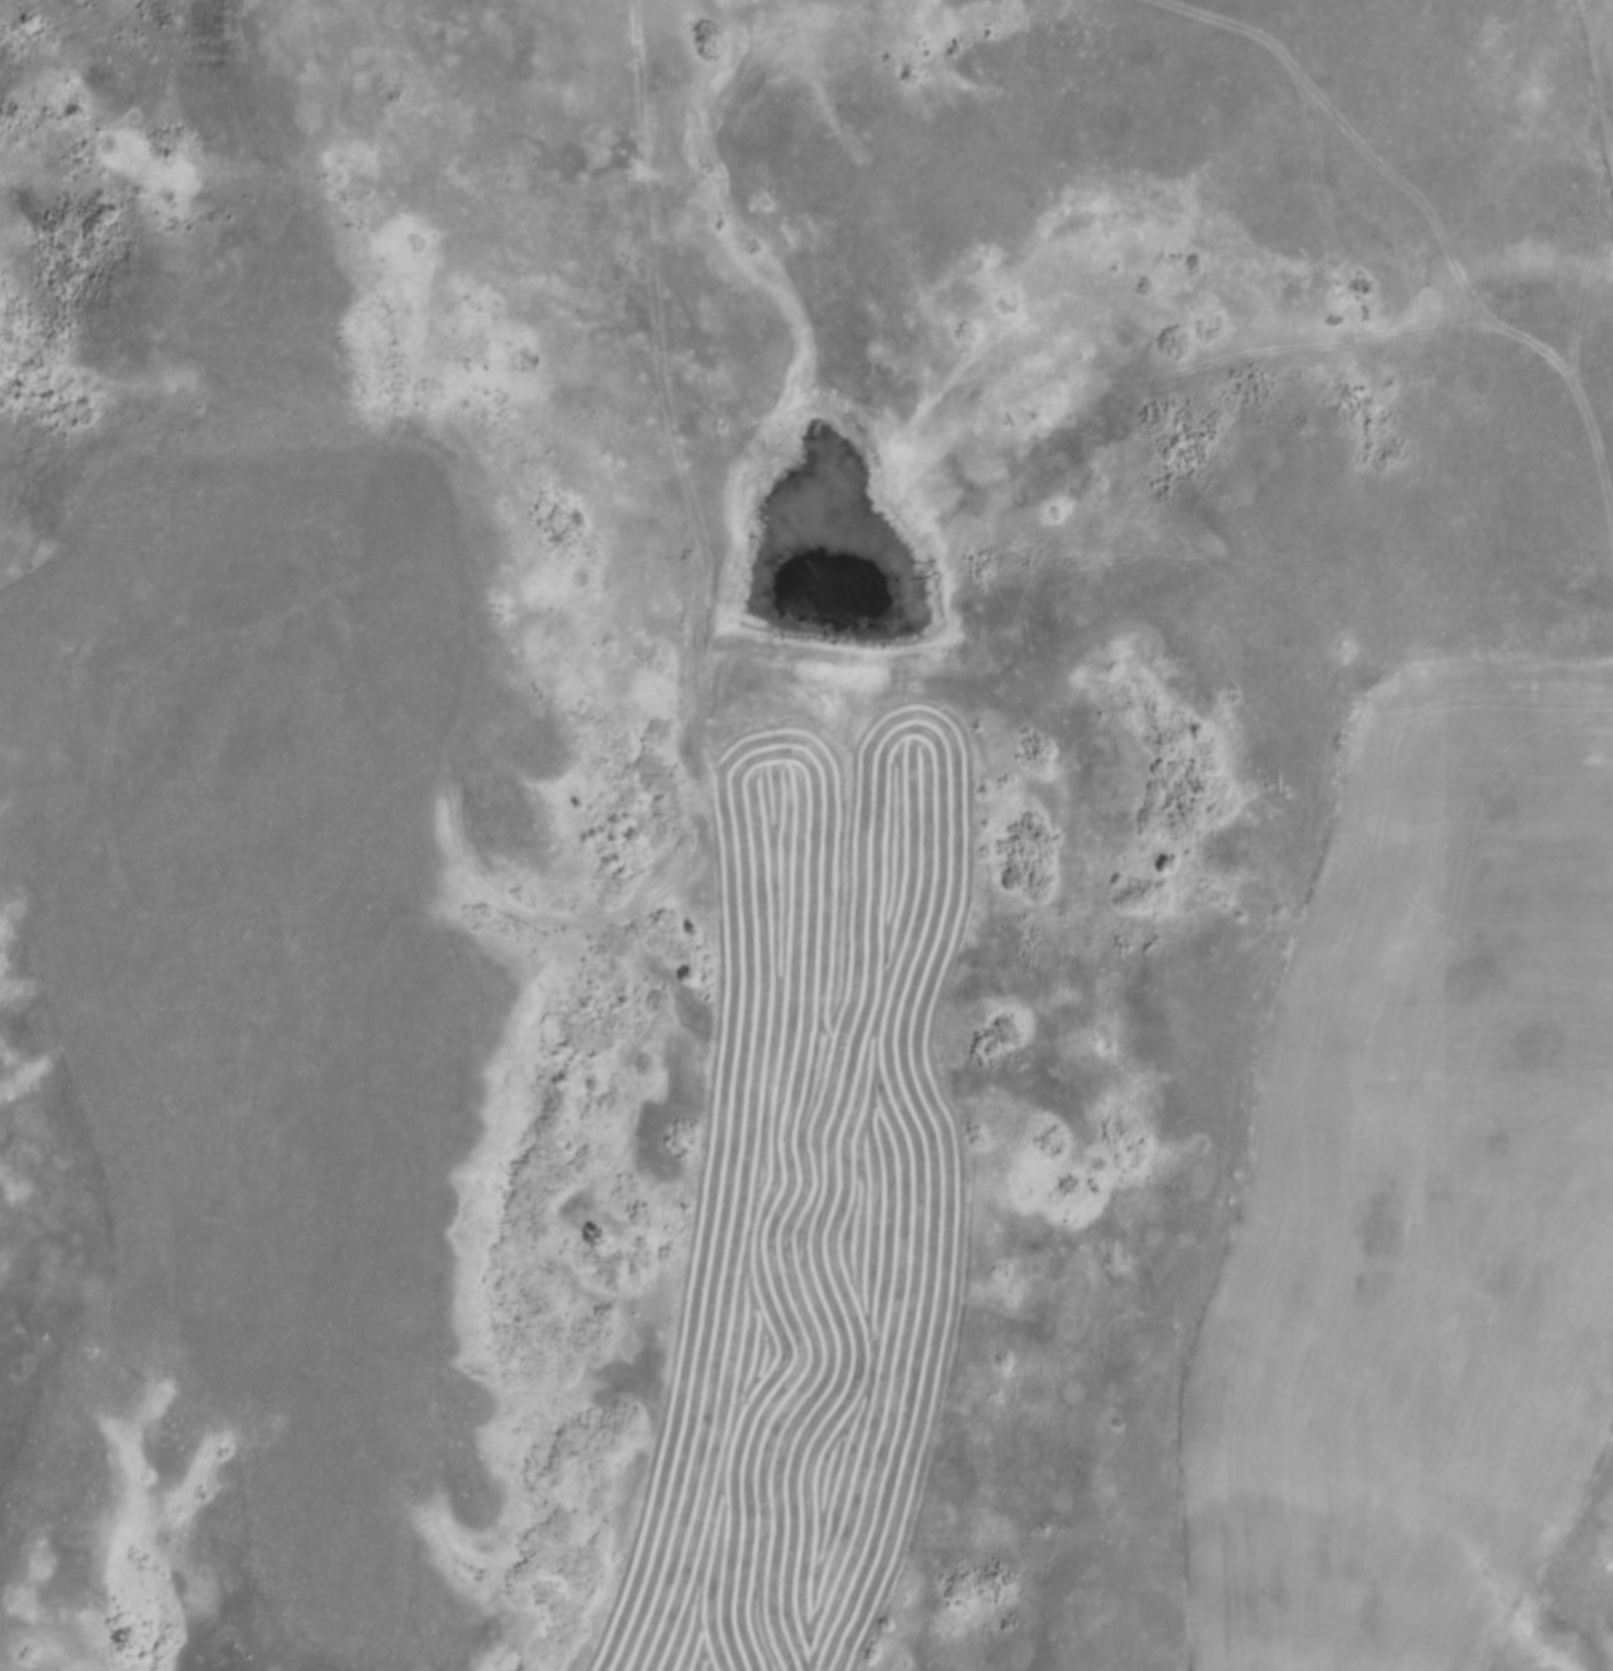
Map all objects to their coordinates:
road: (1378, 252)
road: (705, 609)

